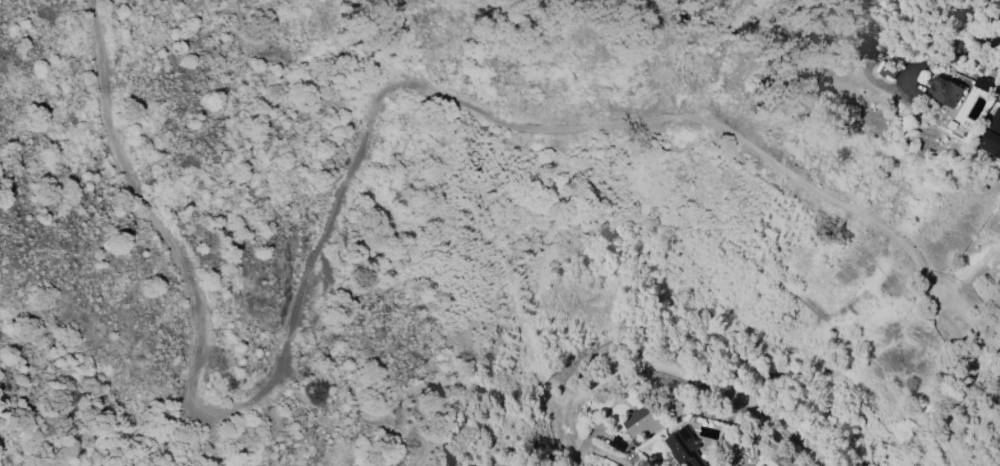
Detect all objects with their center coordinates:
road: (949, 58)
building: (888, 68)
building: (945, 92)
building: (999, 97)
building: (990, 146)
road: (338, 193)
road: (941, 300)
road: (964, 311)
road: (956, 395)
building: (644, 420)
road: (353, 424)
road: (172, 431)
building: (685, 448)
road: (583, 461)
road: (599, 461)

